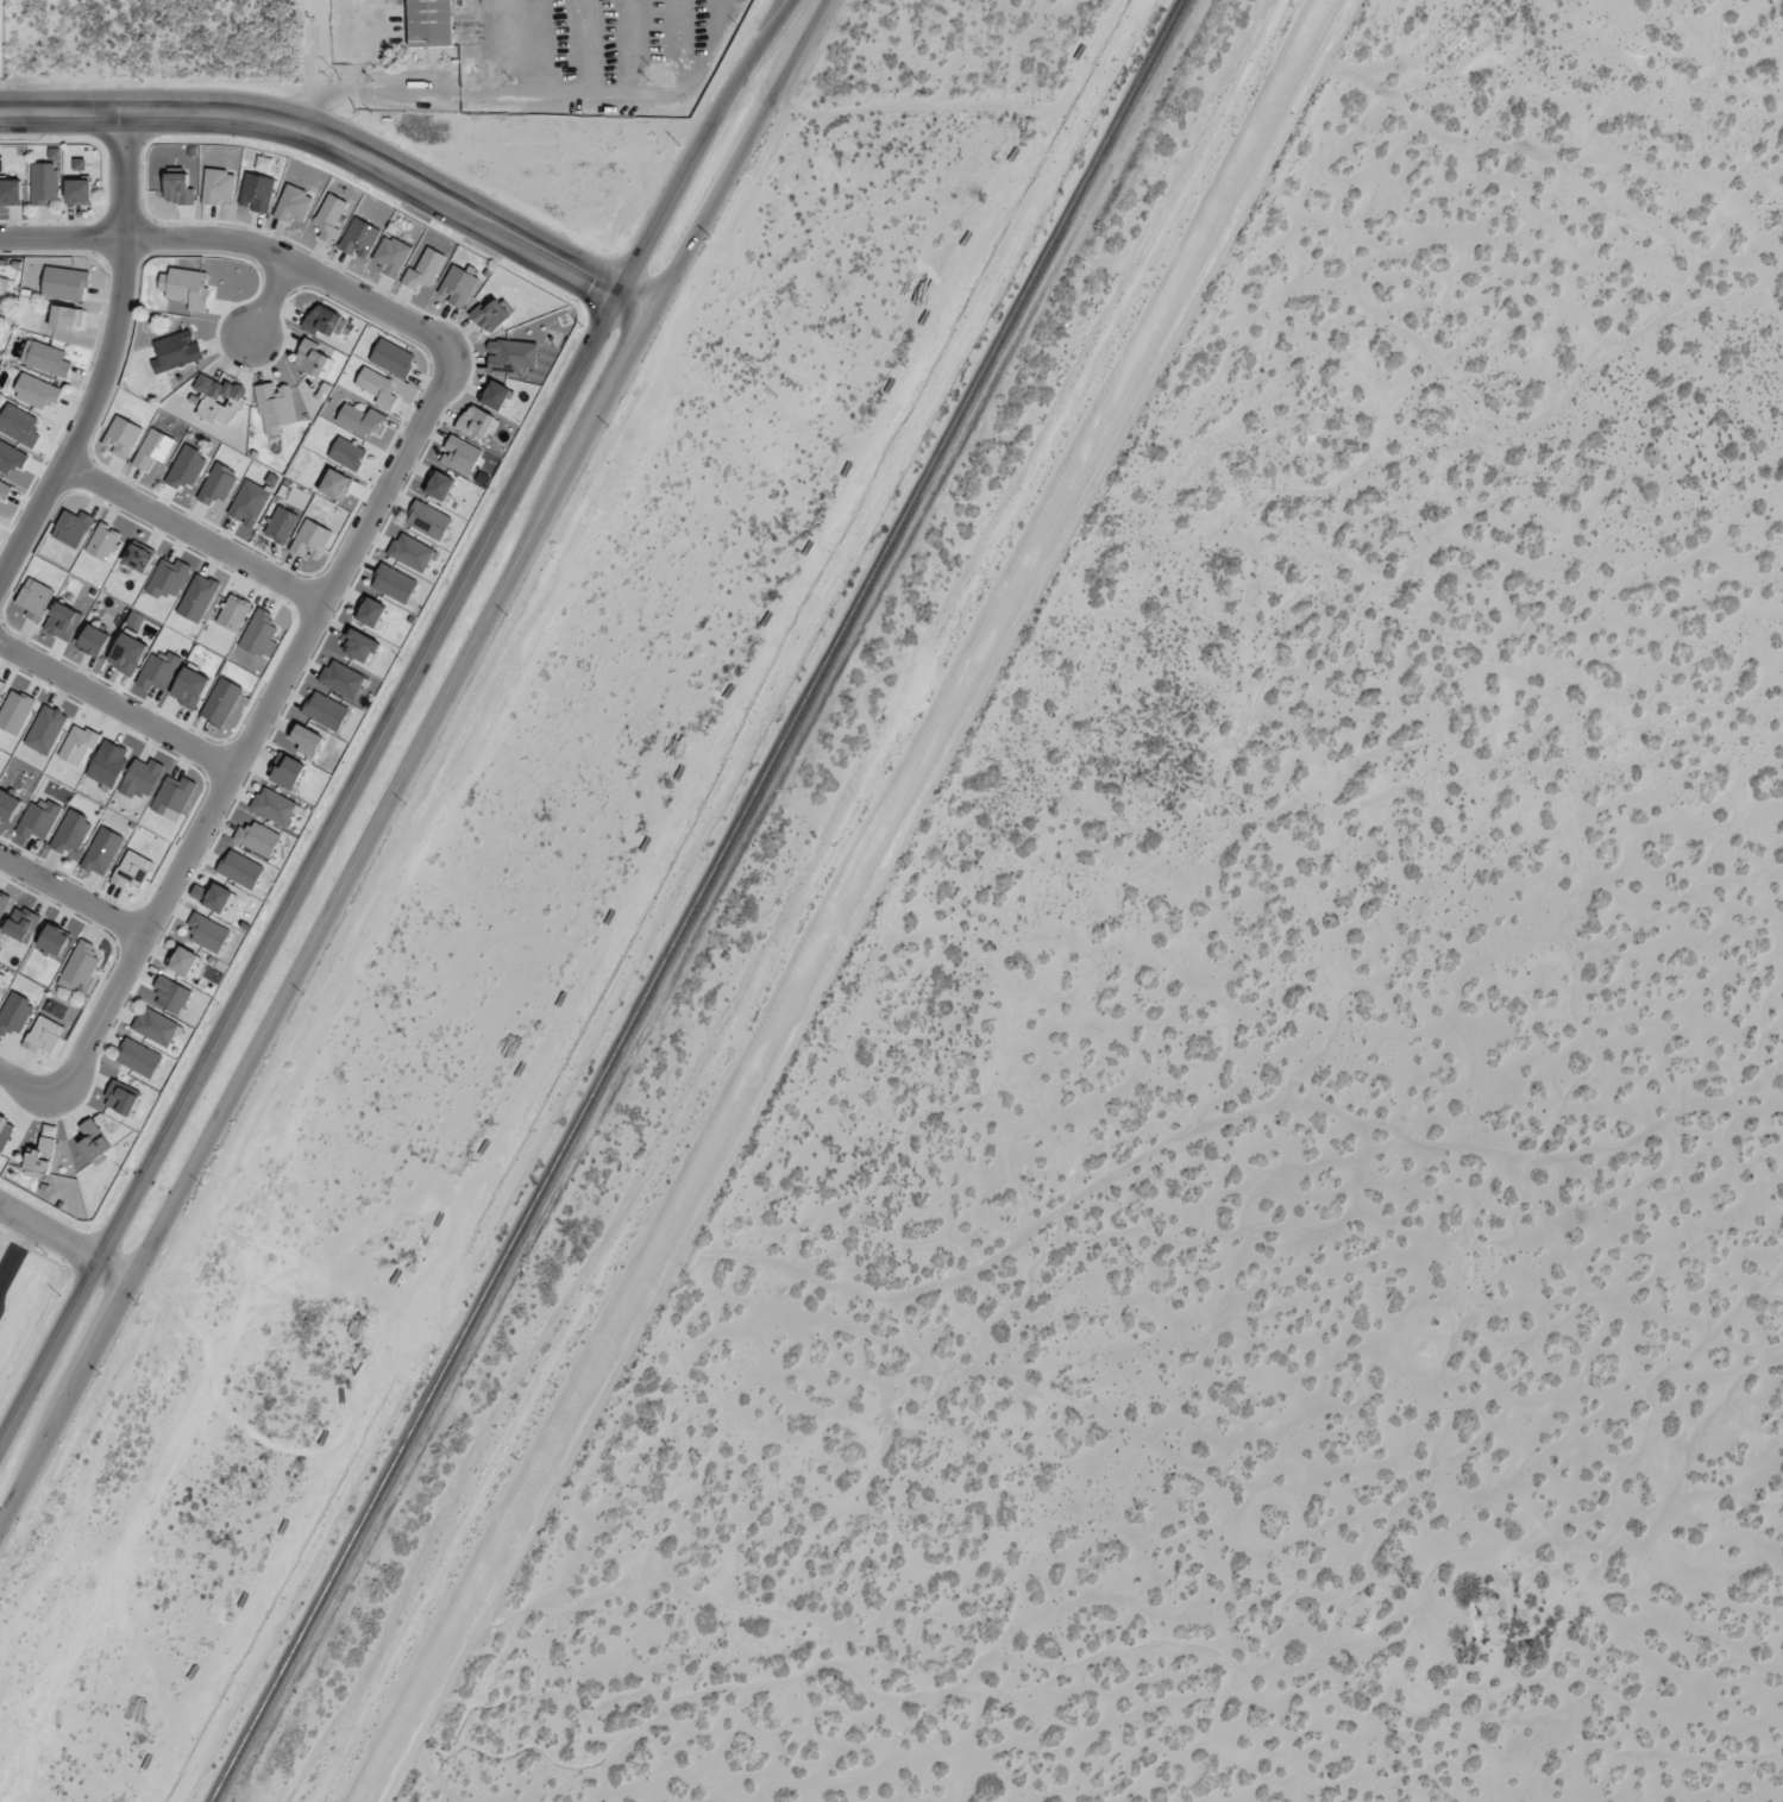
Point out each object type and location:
building: (429, 23)
road: (343, 145)
building: (77, 163)
road: (124, 172)
building: (43, 182)
building: (216, 186)
building: (177, 188)
building: (10, 191)
building: (77, 191)
building: (256, 191)
building: (293, 205)
building: (328, 216)
road: (61, 234)
building: (358, 237)
building: (390, 255)
road: (296, 262)
building: (423, 269)
building: (64, 283)
building: (2, 284)
building: (457, 285)
building: (184, 287)
road: (268, 300)
building: (490, 314)
building: (65, 318)
building: (322, 320)
building: (175, 350)
building: (510, 354)
building: (391, 357)
building: (44, 358)
building: (312, 358)
building: (376, 387)
building: (34, 391)
building: (494, 394)
building: (218, 398)
building: (274, 407)
road: (86, 413)
building: (360, 419)
building: (476, 421)
building: (18, 425)
building: (120, 437)
building: (152, 448)
building: (346, 452)
building: (459, 454)
building: (11, 457)
building: (184, 467)
building: (216, 483)
building: (334, 484)
building: (438, 484)
building: (2, 489)
building: (247, 502)
building: (427, 520)
building: (280, 523)
building: (71, 527)
road: (190, 532)
building: (309, 539)
building: (102, 541)
building: (410, 552)
building: (137, 558)
building: (167, 577)
building: (393, 583)
building: (196, 597)
building: (33, 598)
building: (370, 611)
building: (232, 613)
building: (62, 621)
building: (93, 640)
building: (359, 645)
building: (127, 653)
building: (157, 670)
building: (341, 678)
building: (0, 682)
building: (189, 686)
building: (220, 701)
road: (114, 705)
building: (14, 710)
building: (325, 710)
road: (391, 716)
road: (253, 727)
building: (44, 729)
building: (306, 740)
building: (76, 745)
building: (107, 762)
road: (410, 762)
building: (285, 771)
building: (140, 778)
building: (171, 795)
building: (7, 805)
building: (274, 805)
building: (37, 818)
building: (70, 833)
building: (256, 837)
building: (101, 850)
building: (132, 868)
building: (239, 868)
building: (212, 896)
road: (71, 897)
railway: (698, 900)
building: (2, 902)
building: (20, 923)
building: (206, 931)
building: (52, 941)
building: (182, 960)
building: (80, 963)
building: (170, 993)
building: (14, 1012)
building: (155, 1025)
building: (43, 1034)
building: (138, 1057)
road: (24, 1085)
building: (120, 1098)
building: (4, 1131)
building: (93, 1141)
building: (39, 1155)
road: (65, 1241)
road: (17, 1254)

